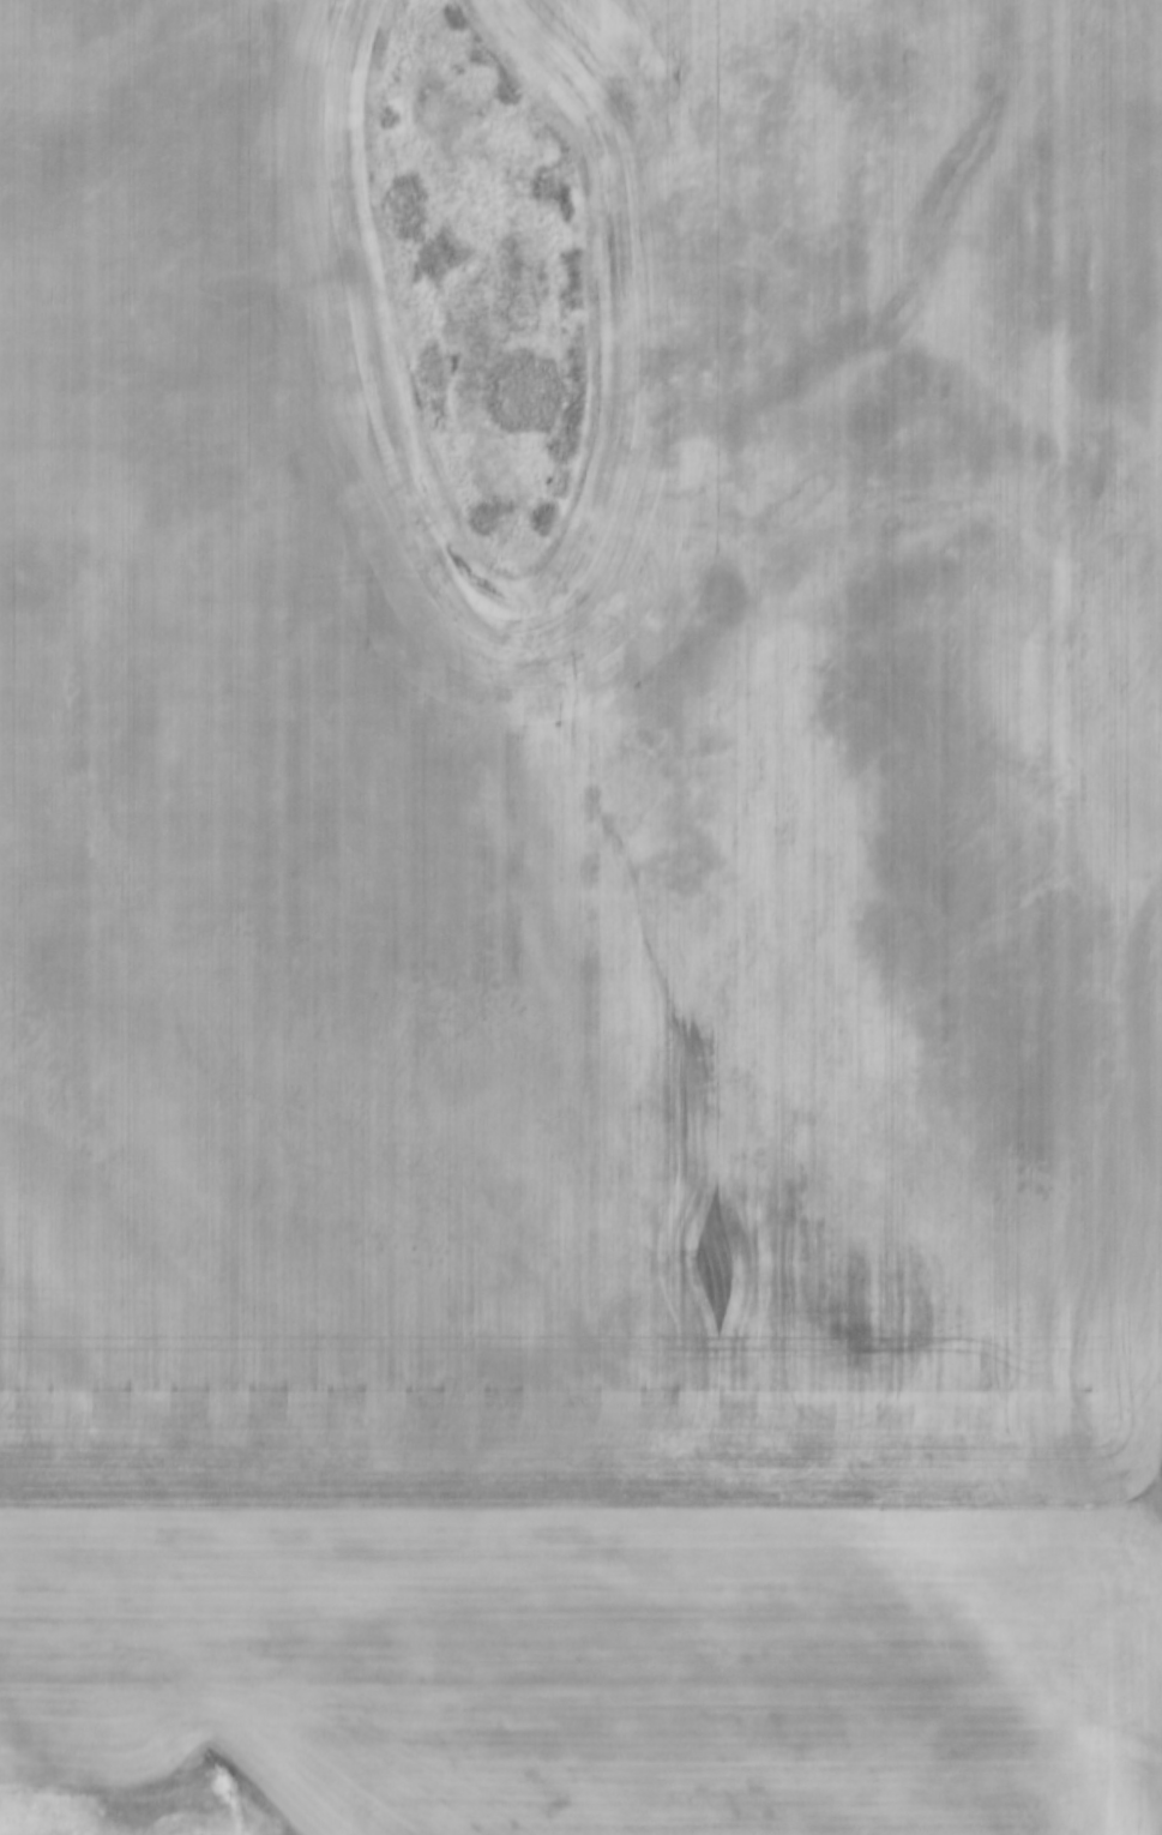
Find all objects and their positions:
road: (1155, 1818)

